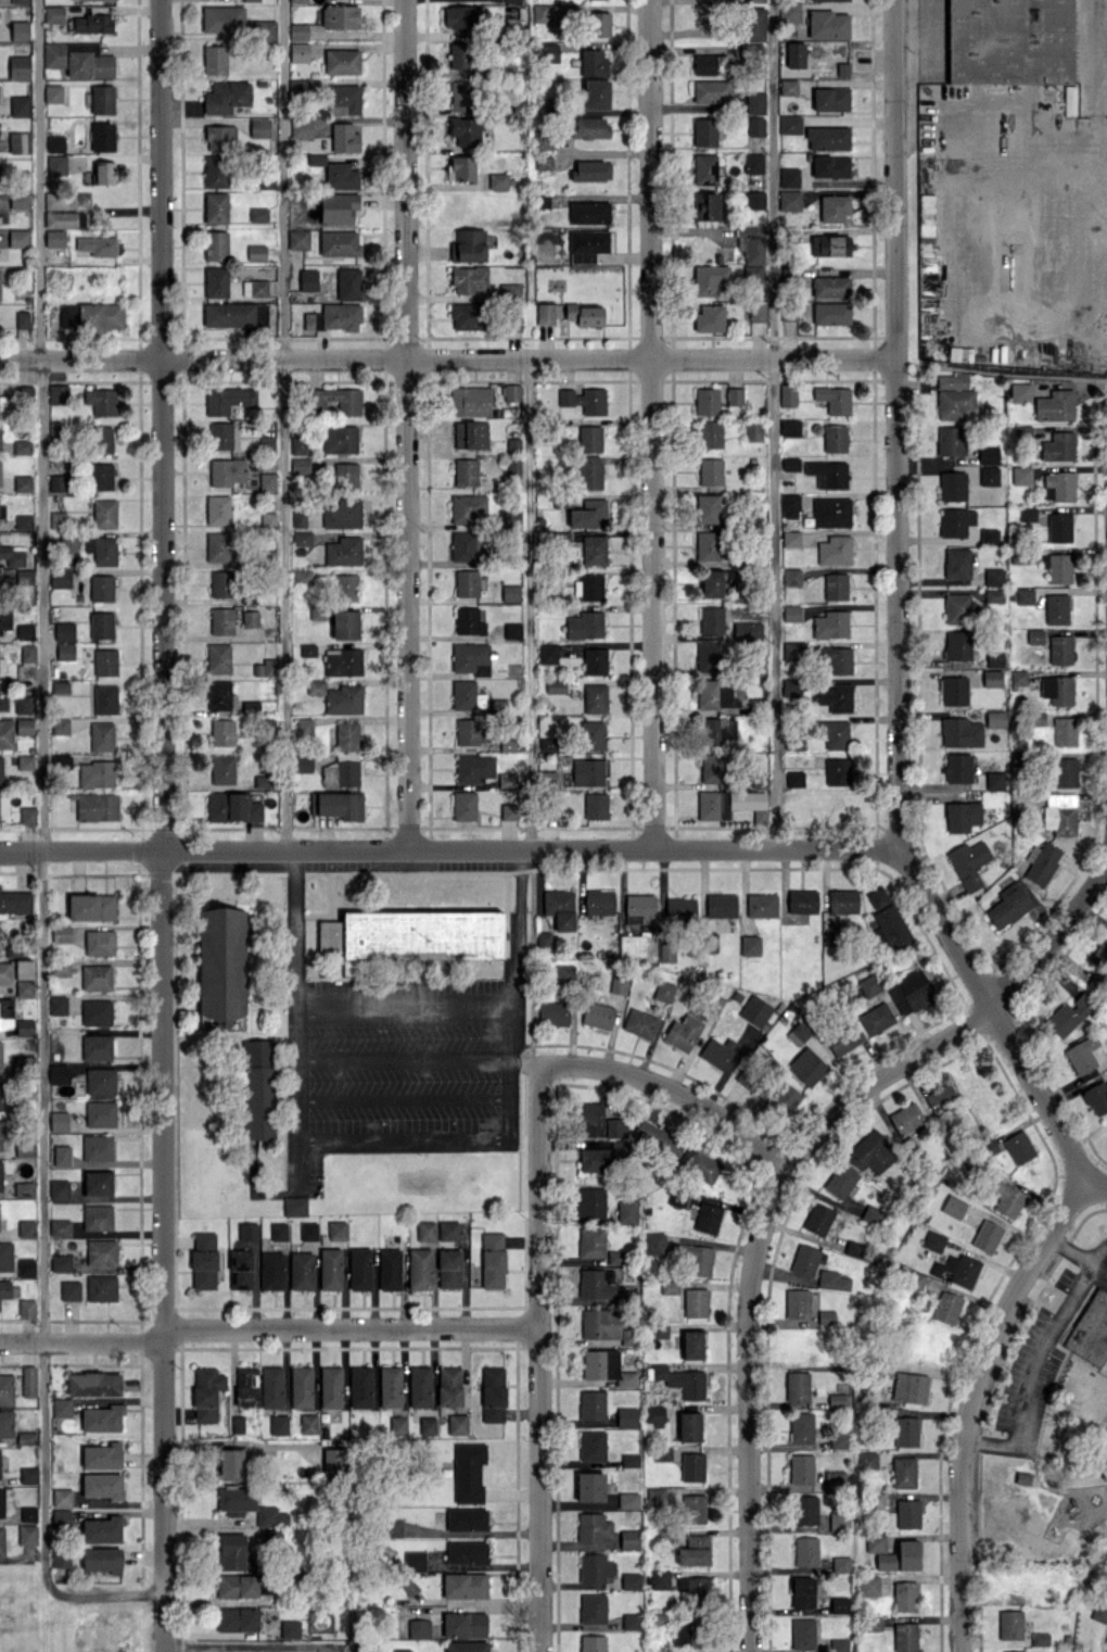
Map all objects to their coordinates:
road: (447, 357)
road: (405, 424)
road: (650, 424)
road: (774, 424)
road: (284, 425)
road: (529, 603)
road: (896, 614)
road: (163, 825)
road: (448, 848)
road: (41, 850)
road: (405, 1002)
road: (510, 1057)
road: (297, 1061)
road: (404, 1062)
road: (673, 1086)
road: (403, 1102)
road: (403, 1140)
road: (1096, 1182)
road: (780, 1183)
road: (1070, 1249)
road: (1099, 1266)
road: (349, 1325)
building: (1090, 1328)
road: (80, 1341)
road: (538, 1355)
road: (1035, 1363)
road: (1103, 1364)
parking lot: (1038, 1366)
road: (969, 1400)
park: (1048, 1413)
road: (1106, 1426)
road: (1036, 1466)
building: (1022, 1475)
road: (1033, 1477)
road: (251, 1644)

